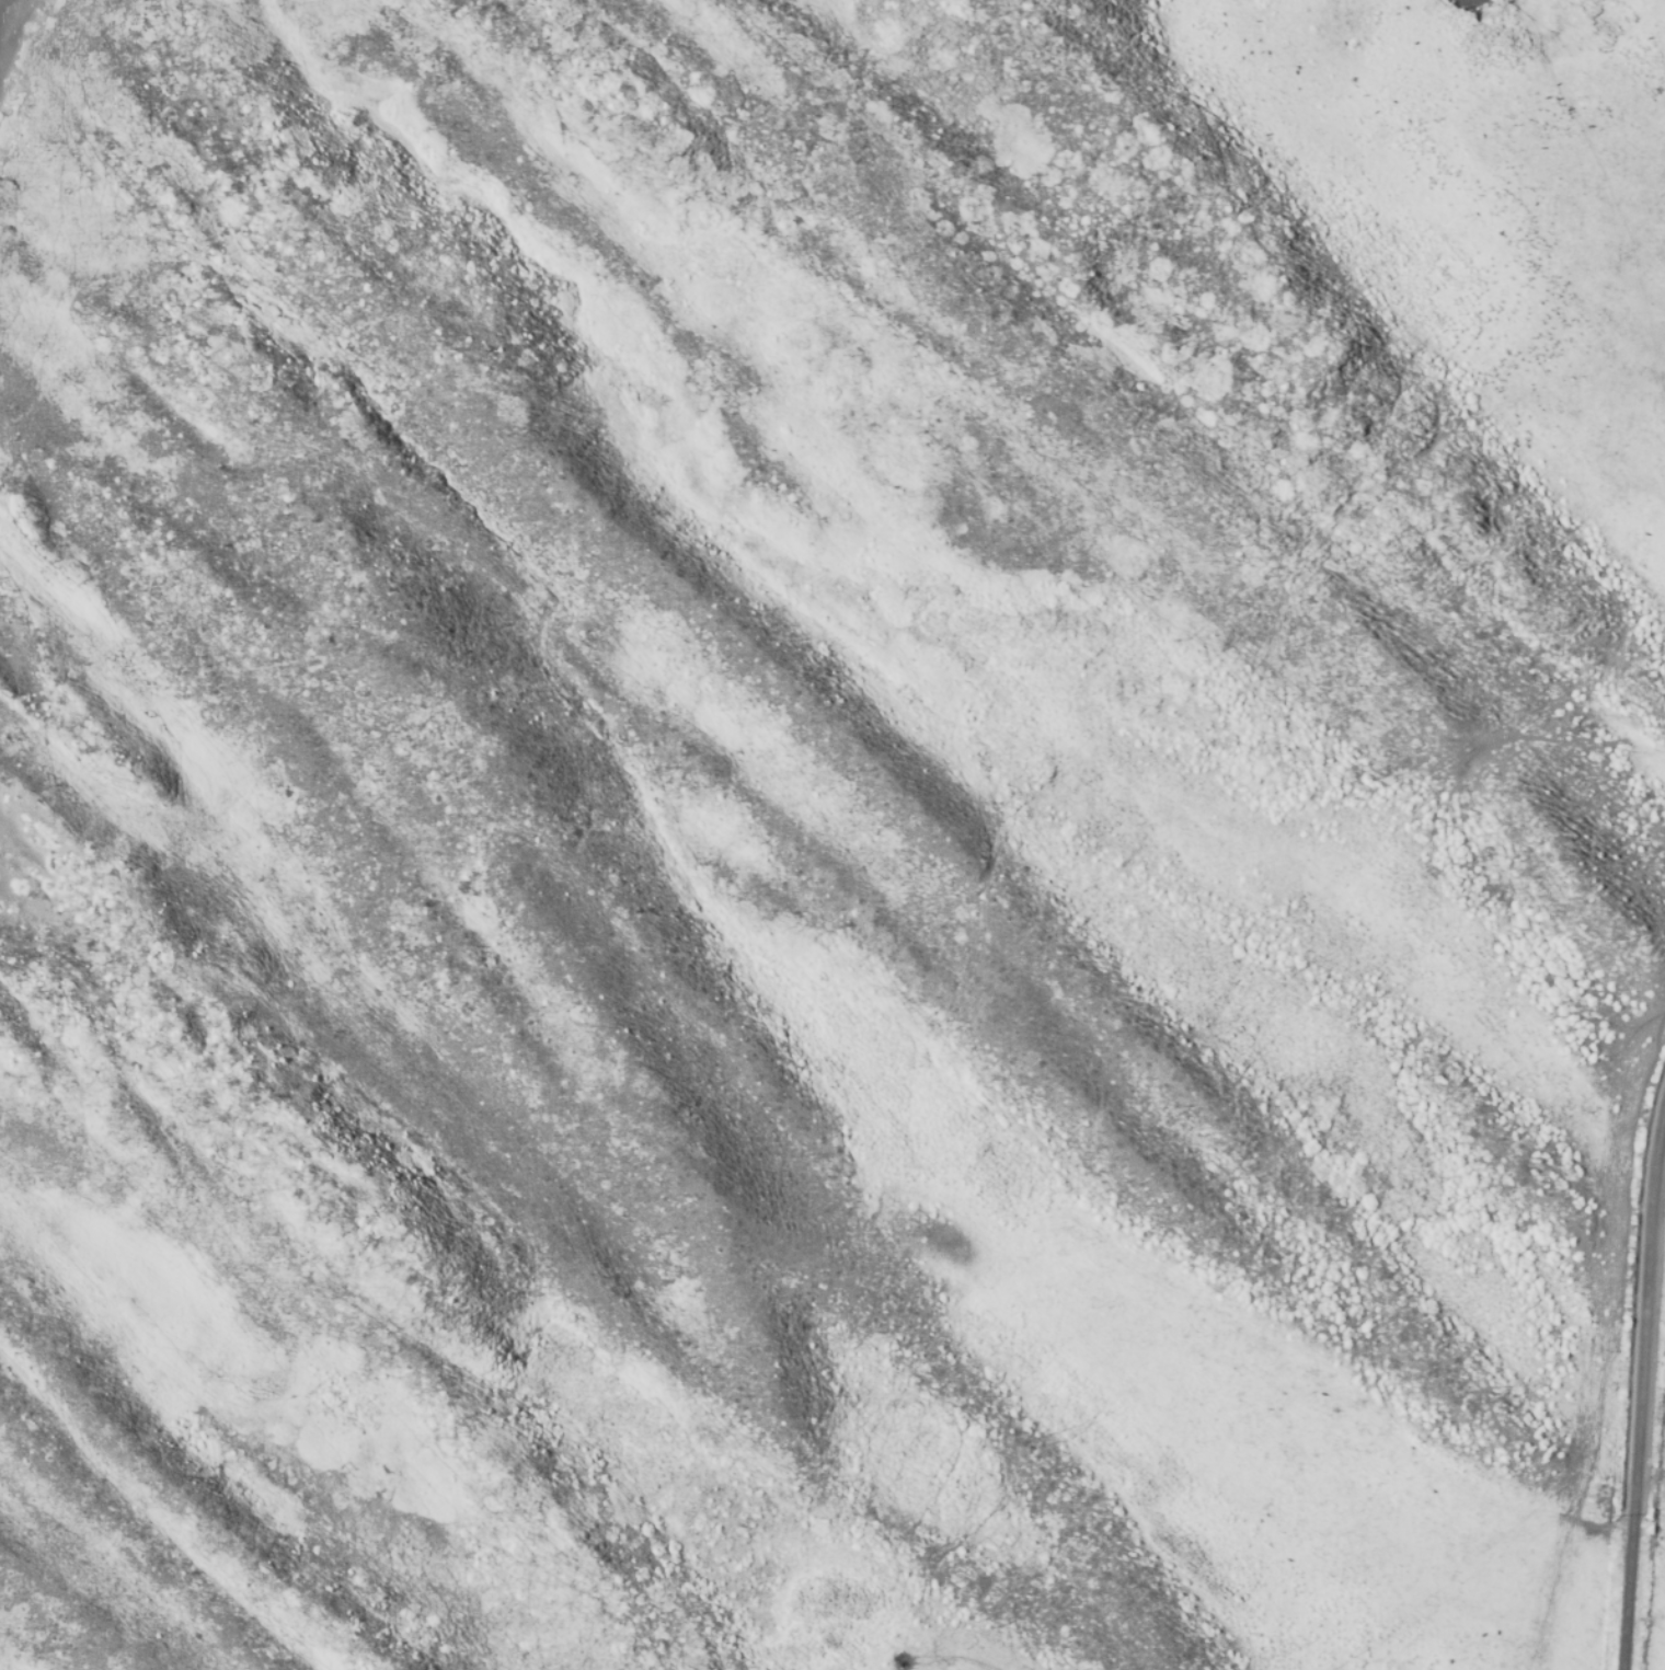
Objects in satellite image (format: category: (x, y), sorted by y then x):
road: (1640, 1394)

